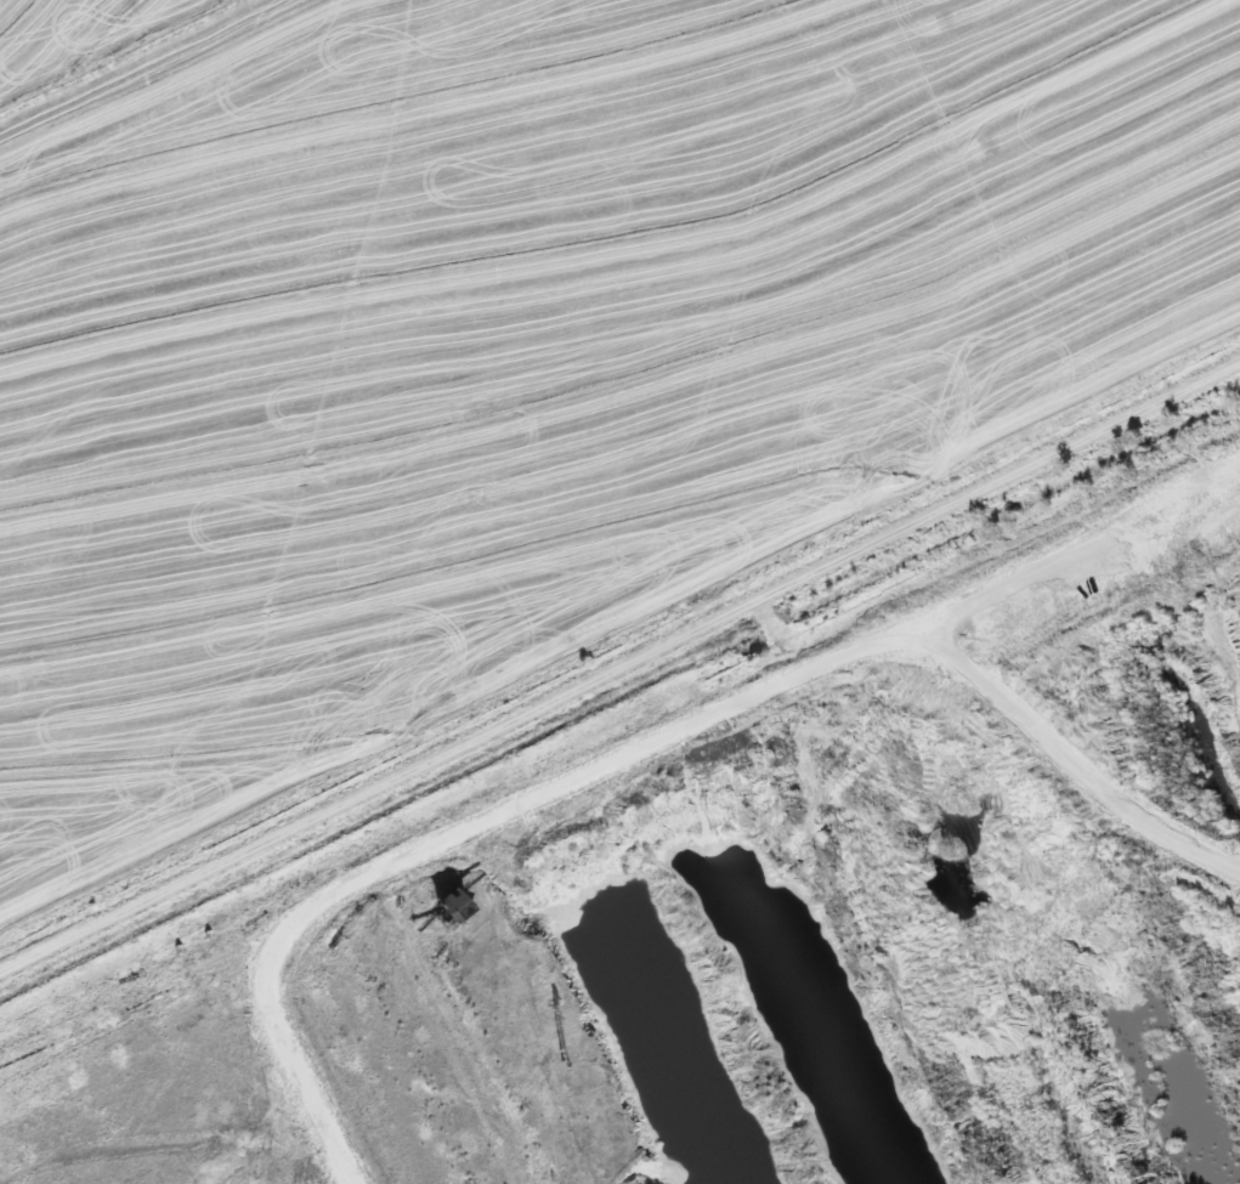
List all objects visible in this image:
road: (622, 680)
road: (902, 897)

